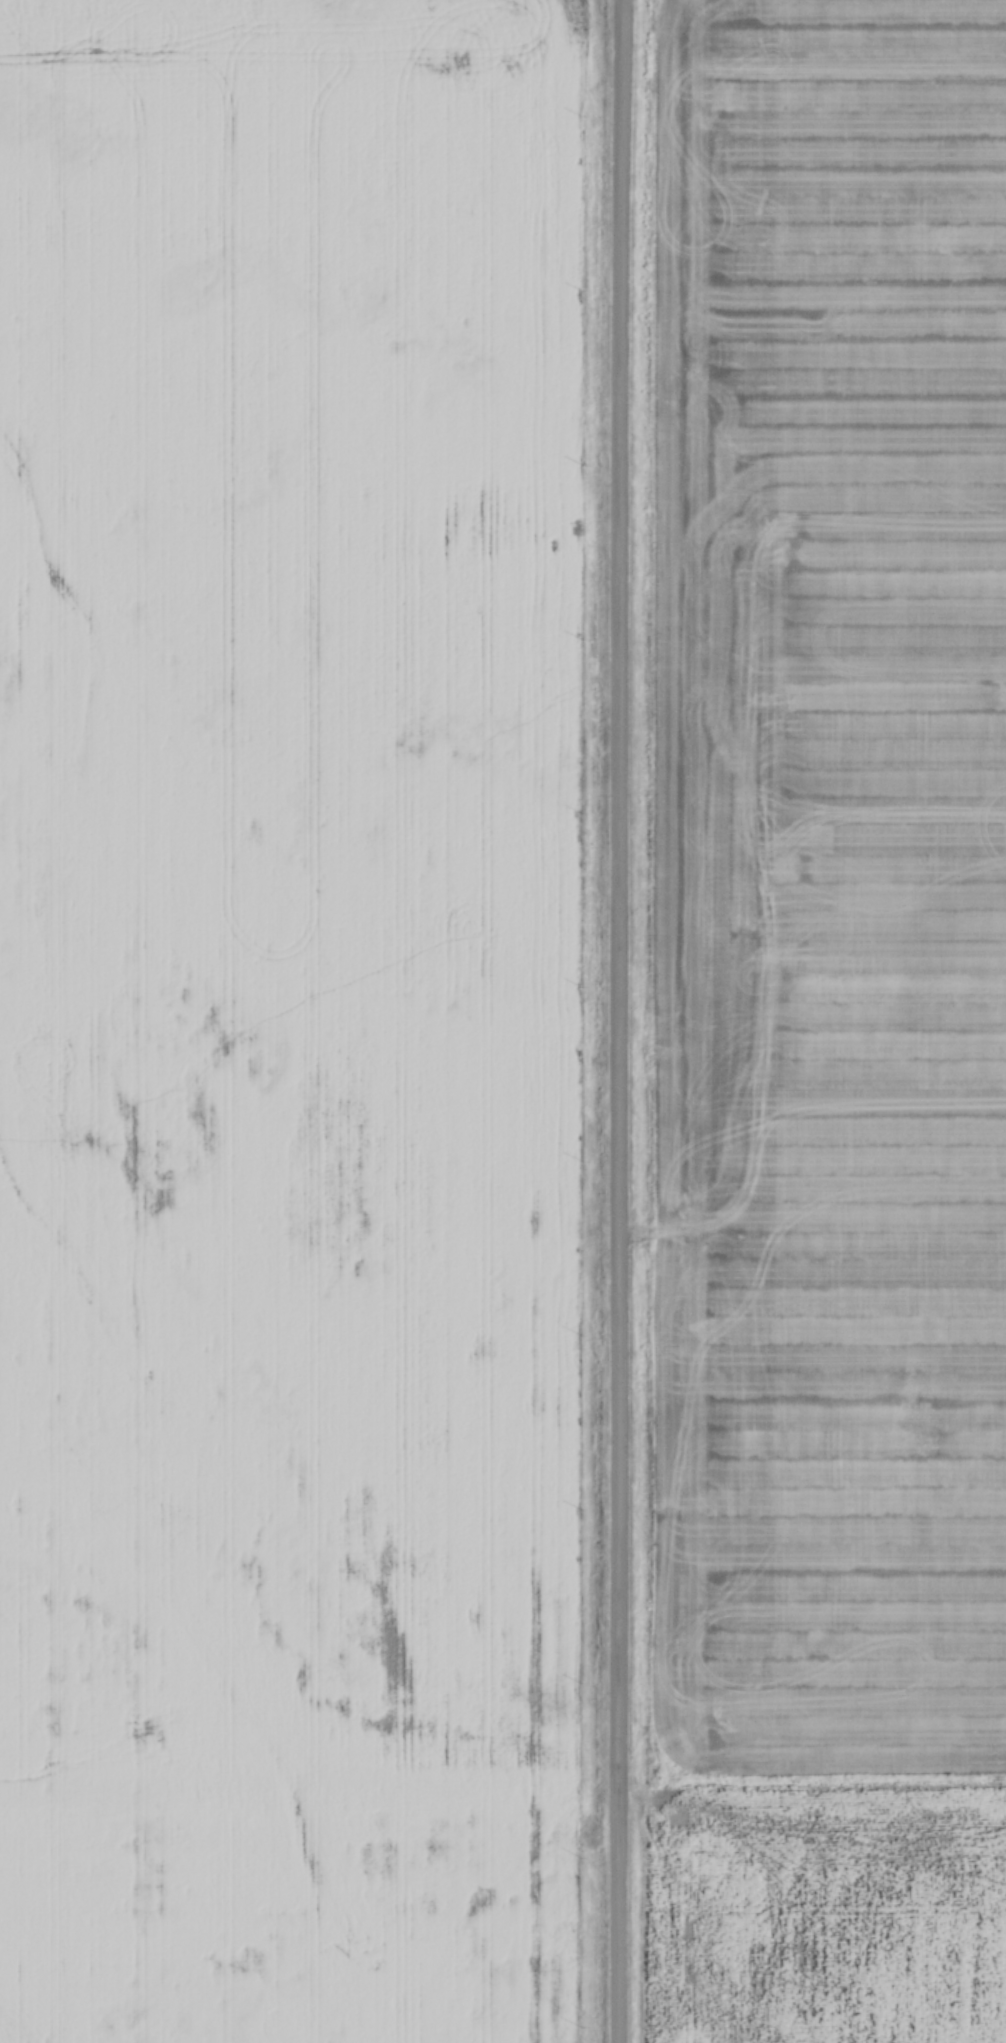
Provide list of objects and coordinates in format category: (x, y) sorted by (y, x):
road: (619, 1021)

